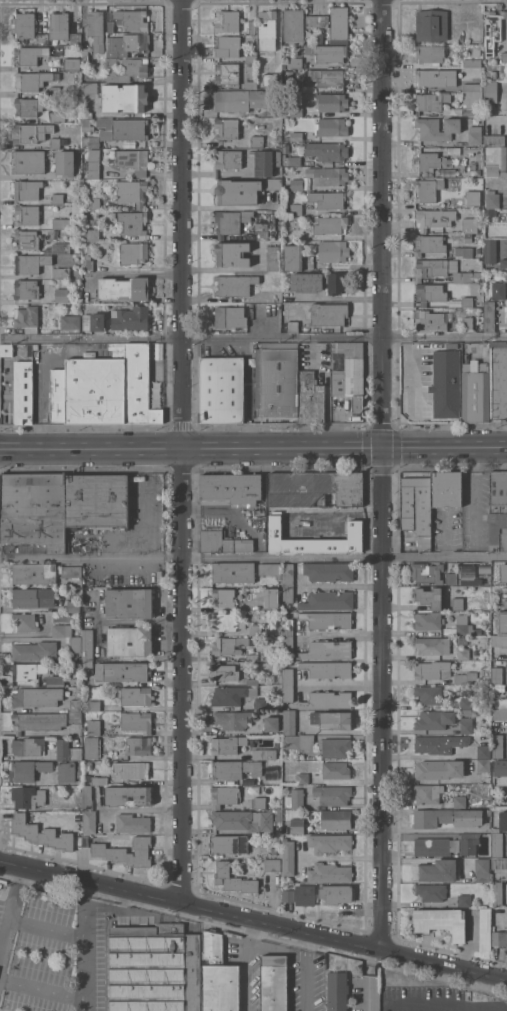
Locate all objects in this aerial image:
building: (132, 19)
building: (226, 21)
building: (317, 21)
building: (267, 24)
building: (24, 25)
building: (59, 25)
building: (339, 25)
building: (432, 25)
building: (110, 26)
building: (294, 26)
building: (252, 27)
building: (96, 29)
building: (492, 29)
building: (42, 38)
building: (75, 38)
building: (128, 42)
building: (228, 46)
building: (477, 51)
building: (327, 52)
building: (112, 53)
building: (430, 53)
building: (30, 54)
building: (86, 55)
building: (504, 56)
building: (251, 58)
building: (277, 61)
building: (72, 63)
building: (295, 63)
building: (472, 63)
building: (506, 66)
building: (127, 68)
building: (503, 69)
building: (227, 73)
building: (288, 74)
building: (493, 74)
building: (328, 77)
building: (433, 78)
building: (34, 79)
building: (250, 84)
building: (297, 86)
building: (90, 87)
building: (473, 87)
building: (55, 91)
building: (490, 91)
building: (124, 97)
building: (245, 99)
building: (431, 101)
building: (331, 102)
building: (471, 102)
building: (34, 106)
building: (296, 111)
building: (87, 114)
building: (57, 117)
building: (331, 127)
building: (227, 128)
building: (437, 128)
building: (129, 129)
building: (30, 132)
building: (105, 135)
building: (475, 135)
building: (296, 136)
building: (494, 140)
building: (257, 141)
building: (94, 142)
building: (55, 143)
building: (129, 143)
building: (286, 147)
building: (327, 150)
building: (452, 150)
building: (94, 154)
building: (227, 158)
building: (133, 160)
building: (291, 160)
building: (463, 160)
building: (496, 160)
building: (29, 161)
building: (430, 161)
building: (65, 162)
building: (264, 163)
building: (93, 169)
building: (446, 172)
building: (329, 175)
building: (273, 184)
building: (294, 185)
building: (27, 189)
building: (428, 189)
building: (238, 191)
building: (132, 192)
building: (471, 197)
building: (58, 198)
building: (328, 199)
building: (492, 199)
building: (94, 203)
building: (296, 209)
building: (27, 214)
building: (430, 219)
building: (231, 221)
building: (133, 222)
building: (62, 223)
building: (330, 225)
building: (470, 225)
building: (262, 231)
building: (56, 232)
building: (90, 234)
building: (27, 239)
building: (429, 244)
building: (63, 248)
building: (333, 251)
building: (464, 251)
building: (490, 251)
building: (135, 253)
building: (232, 253)
building: (294, 257)
building: (273, 258)
building: (30, 263)
building: (87, 263)
building: (503, 263)
building: (444, 270)
building: (61, 272)
road: (141, 274)
building: (307, 281)
building: (337, 283)
building: (235, 284)
building: (26, 288)
building: (124, 288)
building: (498, 290)
building: (430, 293)
building: (61, 295)
road: (337, 297)
building: (467, 301)
building: (468, 311)
building: (328, 314)
building: (230, 317)
building: (27, 318)
building: (130, 318)
building: (491, 318)
building: (429, 320)
building: (70, 321)
building: (94, 322)
building: (467, 322)
building: (292, 326)
road: (253, 338)
building: (7, 349)
building: (348, 371)
building: (277, 379)
building: (498, 380)
building: (446, 382)
building: (111, 389)
building: (223, 389)
building: (23, 391)
building: (476, 391)
building: (58, 395)
building: (310, 398)
road: (253, 447)
traffic signals: (385, 447)
road: (183, 450)
road: (385, 476)
building: (315, 488)
building: (447, 488)
building: (231, 489)
road: (474, 492)
building: (97, 501)
building: (417, 508)
building: (35, 510)
building: (498, 510)
building: (314, 538)
building: (224, 542)
road: (253, 558)
building: (270, 569)
building: (484, 570)
building: (72, 571)
building: (329, 571)
building: (233, 572)
building: (426, 572)
building: (34, 573)
building: (468, 575)
building: (451, 578)
building: (506, 580)
building: (288, 582)
building: (34, 597)
building: (223, 597)
building: (429, 597)
building: (272, 598)
building: (328, 600)
building: (129, 602)
building: (457, 603)
building: (505, 604)
building: (73, 606)
building: (327, 619)
building: (427, 620)
building: (25, 622)
building: (223, 622)
building: (461, 624)
building: (62, 630)
building: (255, 630)
building: (287, 636)
building: (499, 640)
building: (130, 641)
building: (232, 644)
building: (433, 645)
building: (84, 649)
building: (327, 649)
building: (34, 650)
building: (464, 653)
building: (252, 657)
building: (327, 669)
building: (431, 669)
building: (28, 670)
building: (121, 671)
building: (224, 671)
building: (497, 675)
building: (466, 677)
building: (51, 681)
building: (252, 681)
road: (344, 684)
building: (288, 685)
building: (232, 694)
building: (429, 694)
building: (37, 696)
building: (136, 696)
building: (327, 699)
building: (466, 703)
building: (499, 703)
building: (261, 704)
building: (76, 705)
building: (94, 705)
building: (467, 712)
building: (499, 714)
building: (75, 717)
building: (232, 719)
building: (332, 719)
building: (435, 719)
building: (38, 721)
building: (137, 722)
building: (289, 722)
building: (271, 723)
building: (466, 723)
building: (94, 727)
building: (459, 740)
building: (298, 741)
building: (227, 744)
building: (430, 744)
building: (140, 745)
building: (498, 745)
building: (26, 746)
building: (335, 746)
building: (92, 747)
building: (483, 751)
building: (75, 753)
building: (264, 754)
building: (63, 757)
building: (80, 764)
building: (500, 767)
building: (28, 769)
building: (132, 769)
building: (235, 769)
building: (439, 769)
building: (336, 770)
building: (483, 770)
building: (66, 772)
building: (88, 778)
building: (303, 778)
building: (98, 780)
building: (77, 788)
building: (427, 793)
building: (333, 794)
building: (128, 795)
building: (224, 795)
building: (28, 796)
building: (87, 798)
building: (295, 799)
building: (460, 801)
building: (260, 802)
building: (447, 817)
building: (242, 819)
building: (335, 819)
building: (503, 820)
building: (89, 821)
building: (133, 823)
building: (297, 825)
building: (41, 833)
building: (85, 841)
building: (330, 842)
building: (469, 843)
building: (229, 844)
building: (497, 844)
building: (432, 846)
building: (274, 850)
building: (126, 852)
building: (288, 856)
building: (499, 863)
building: (272, 865)
building: (436, 870)
building: (482, 870)
building: (329, 872)
building: (234, 879)
building: (431, 891)
building: (336, 893)
building: (497, 894)
building: (305, 895)
building: (288, 896)
building: (464, 900)
road: (10, 909)
building: (121, 919)
road: (254, 919)
building: (441, 921)
road: (47, 925)
building: (485, 928)
building: (498, 938)
road: (85, 945)
parking lot: (52, 951)
building: (155, 968)
road: (306, 972)
building: (219, 976)
building: (274, 983)
road: (43, 988)
building: (337, 990)
building: (372, 993)
road: (429, 1002)
road: (486, 1010)

